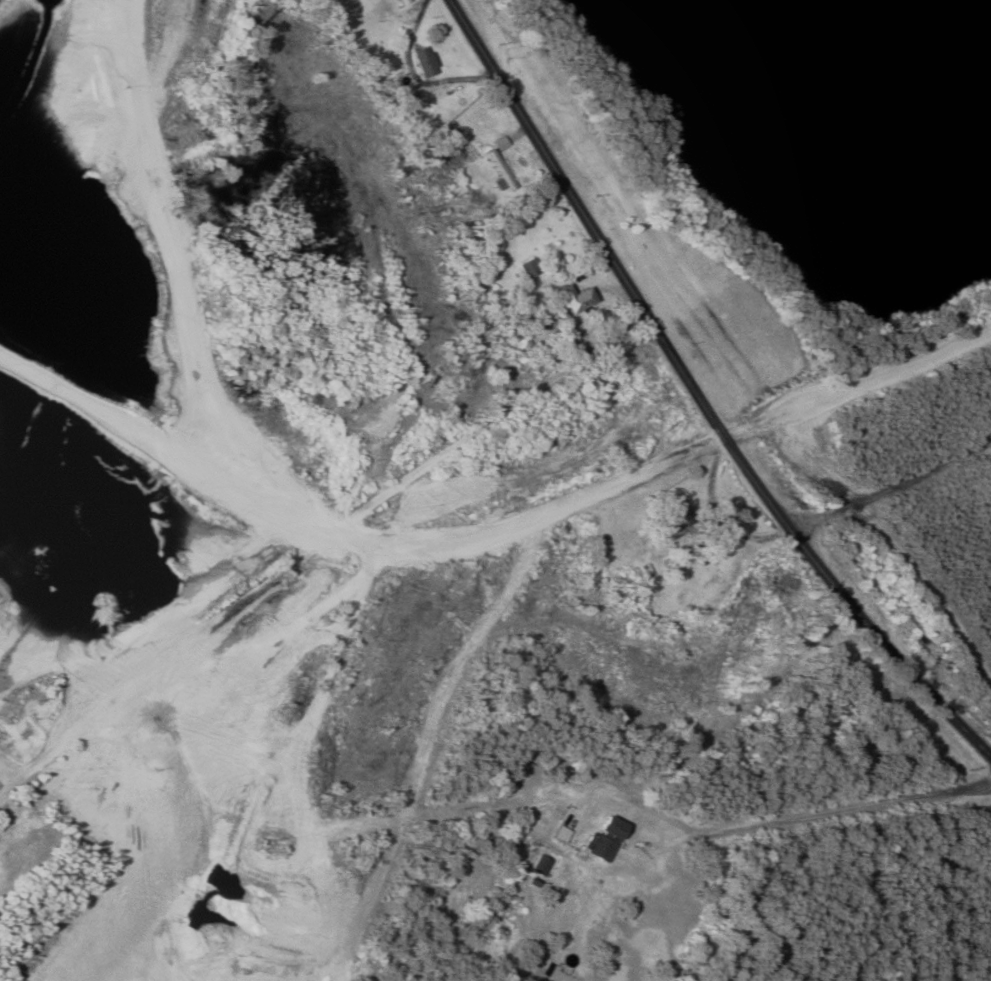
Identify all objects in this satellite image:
building: (403, 2)
building: (427, 62)
road: (544, 157)
building: (501, 172)
building: (573, 299)
road: (859, 385)
building: (678, 518)
road: (805, 544)
road: (314, 547)
road: (313, 772)
road: (3, 788)
road: (788, 821)
building: (604, 839)
building: (543, 865)

